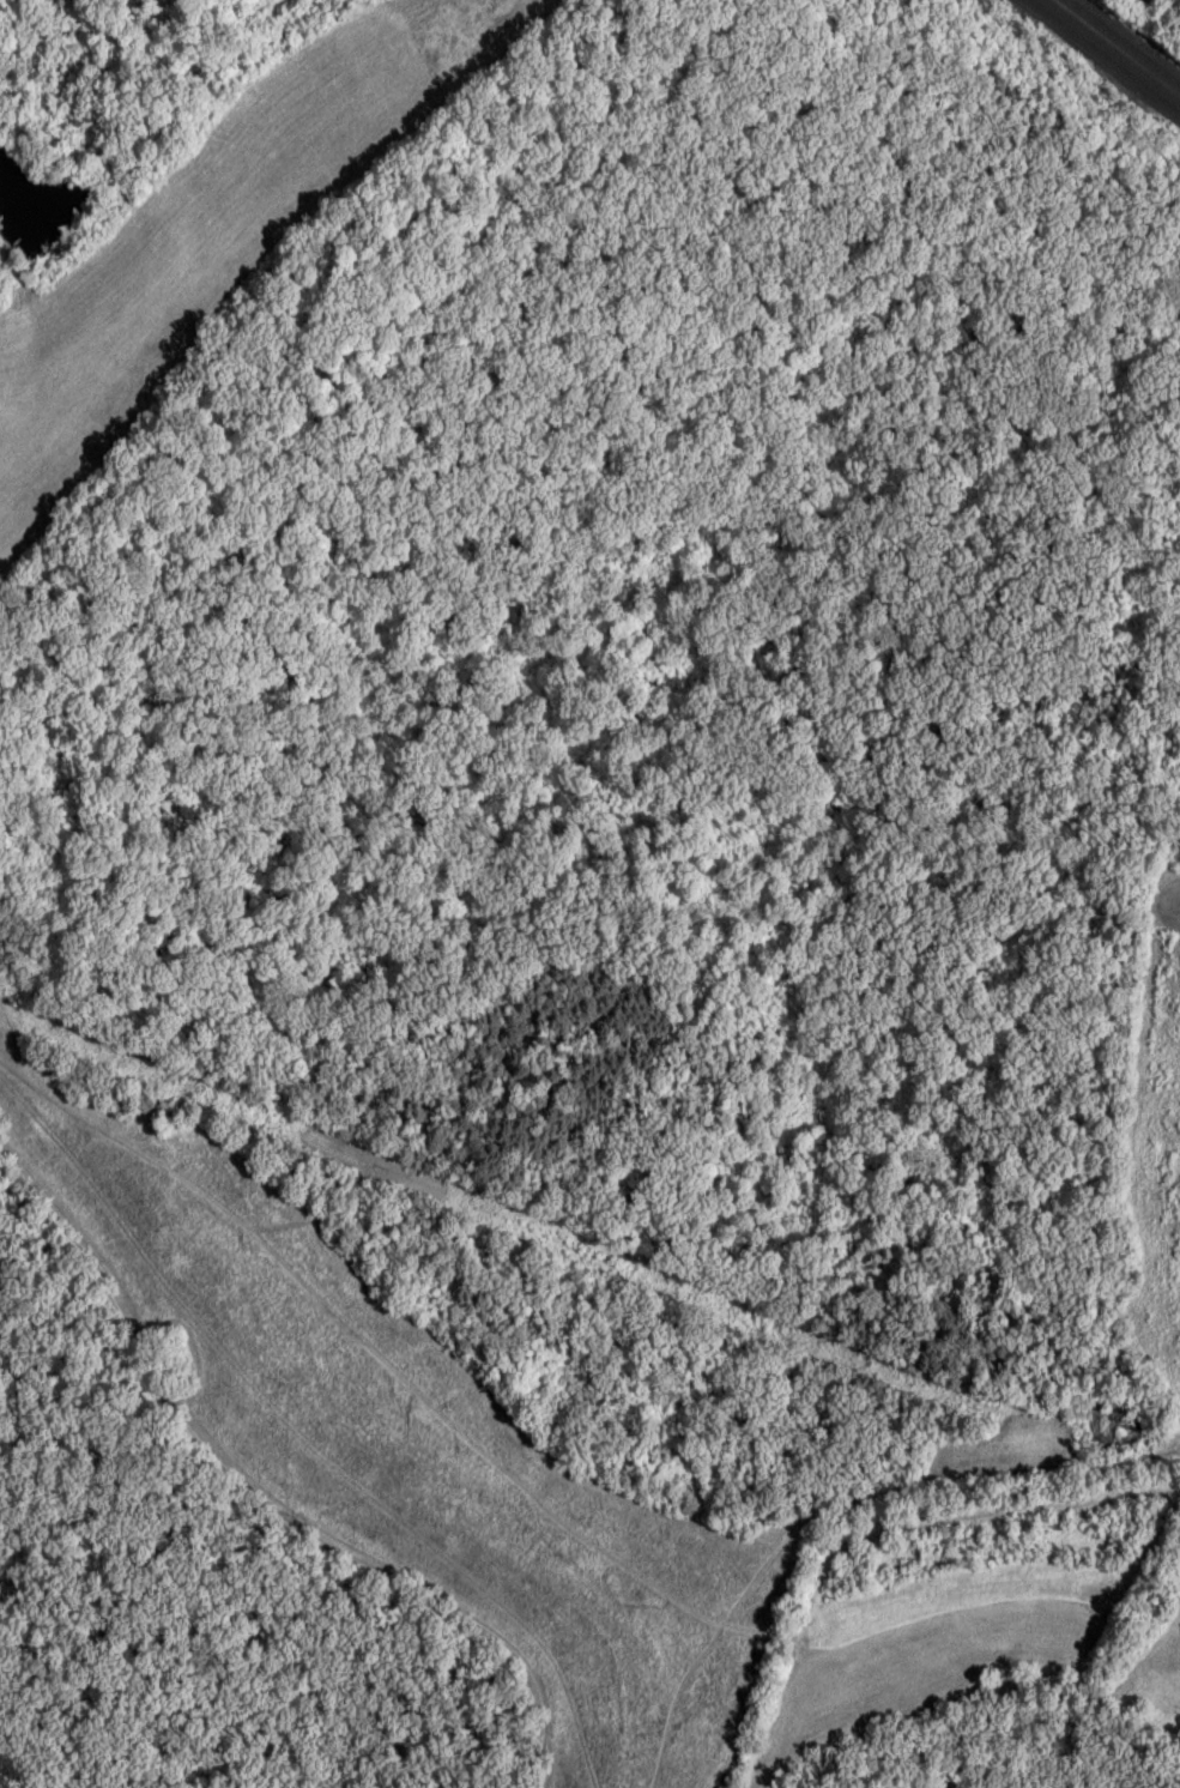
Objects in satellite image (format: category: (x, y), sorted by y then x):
railway: (1121, 44)
railway: (1103, 59)
road: (237, 1510)

